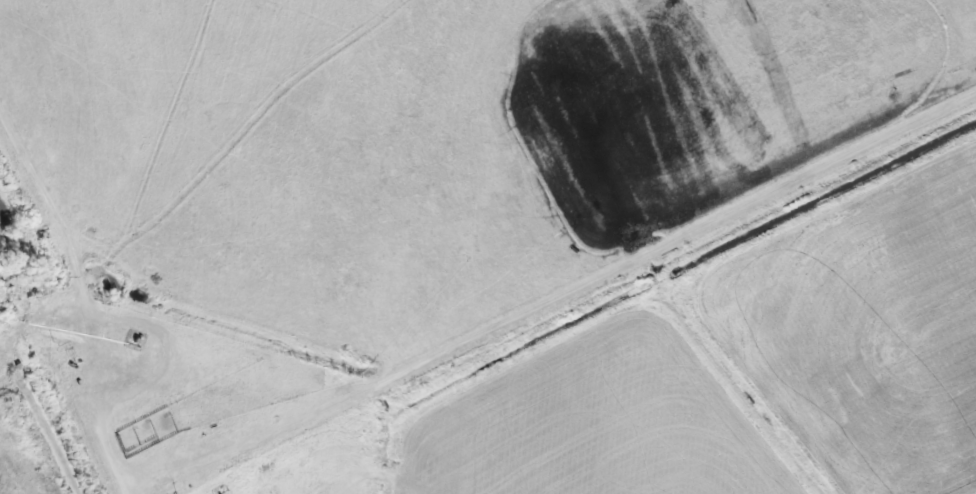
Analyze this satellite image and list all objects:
road: (53, 213)
road: (558, 297)
road: (94, 362)

